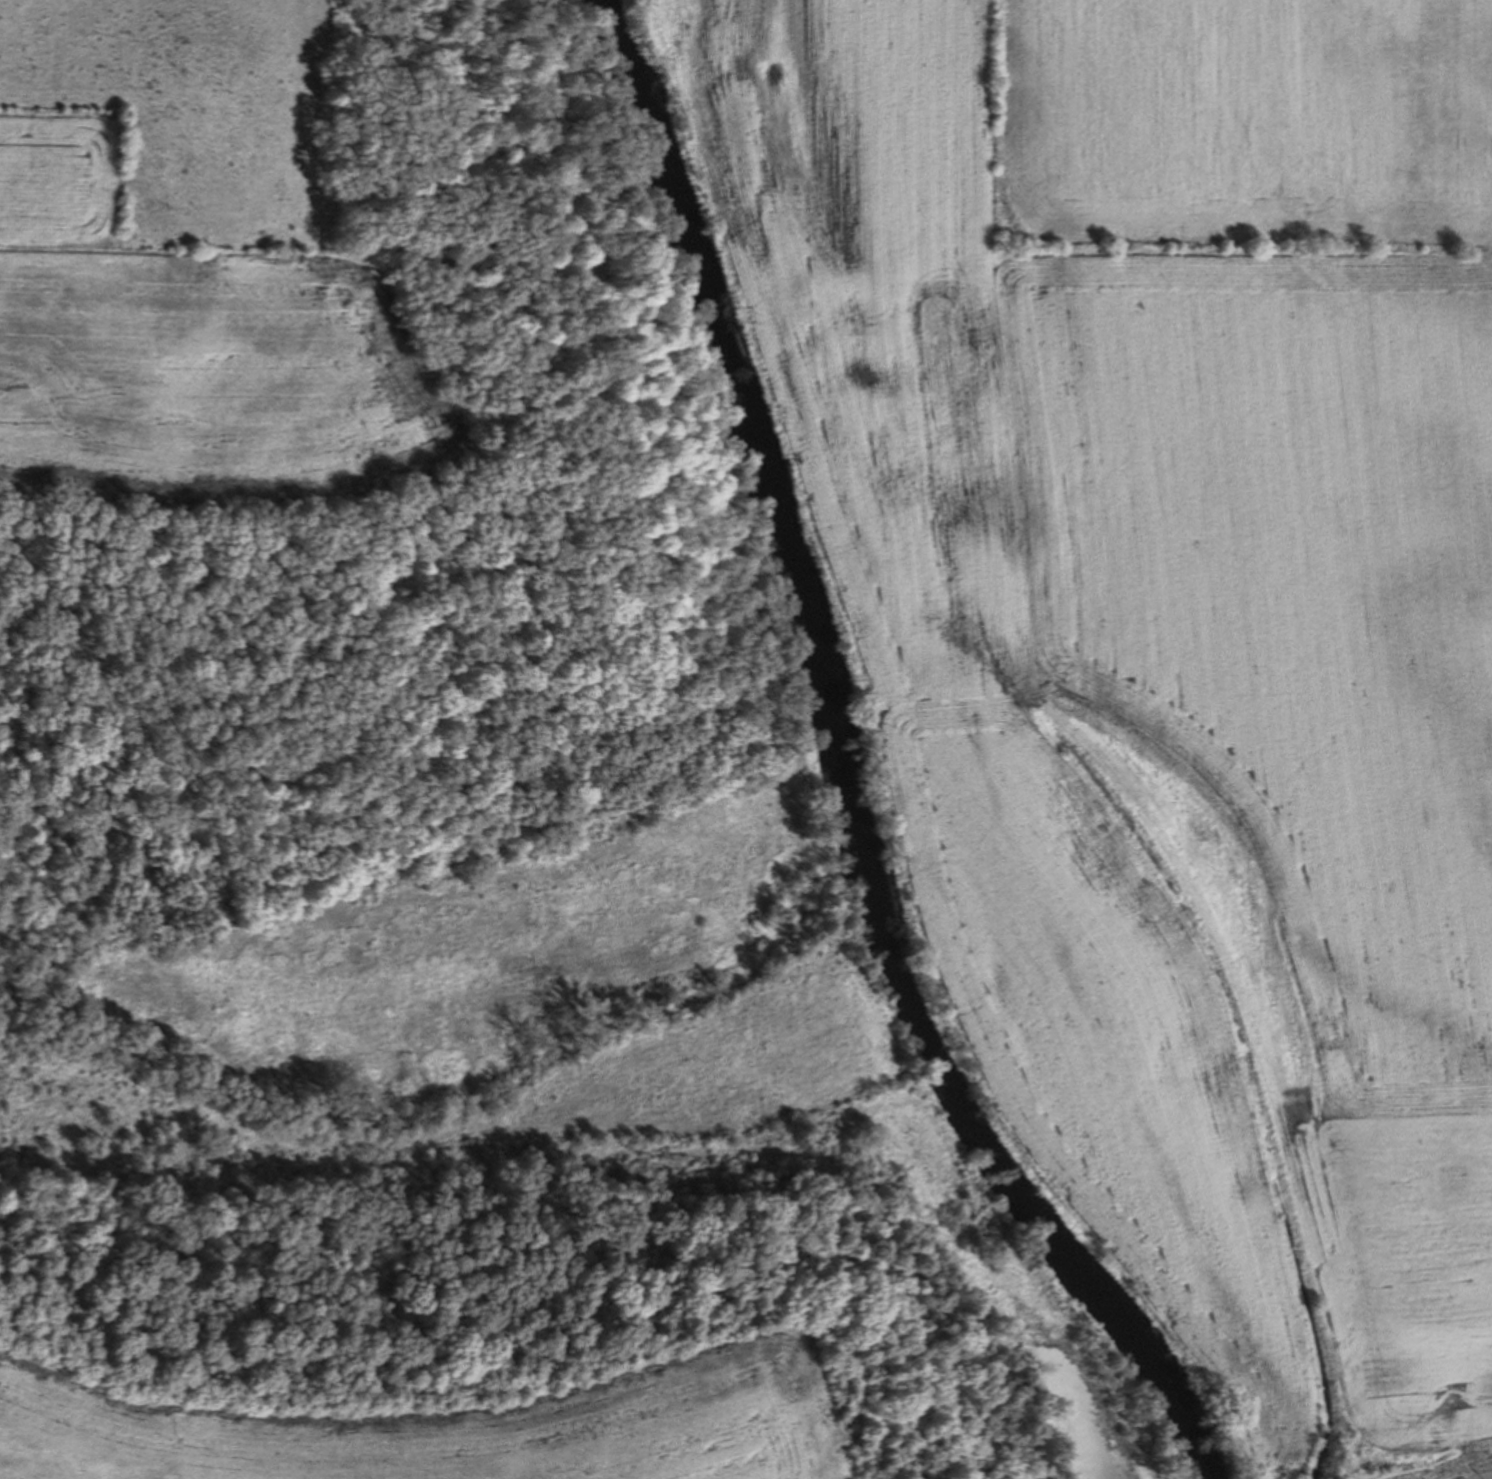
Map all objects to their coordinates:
river: (812, 773)

